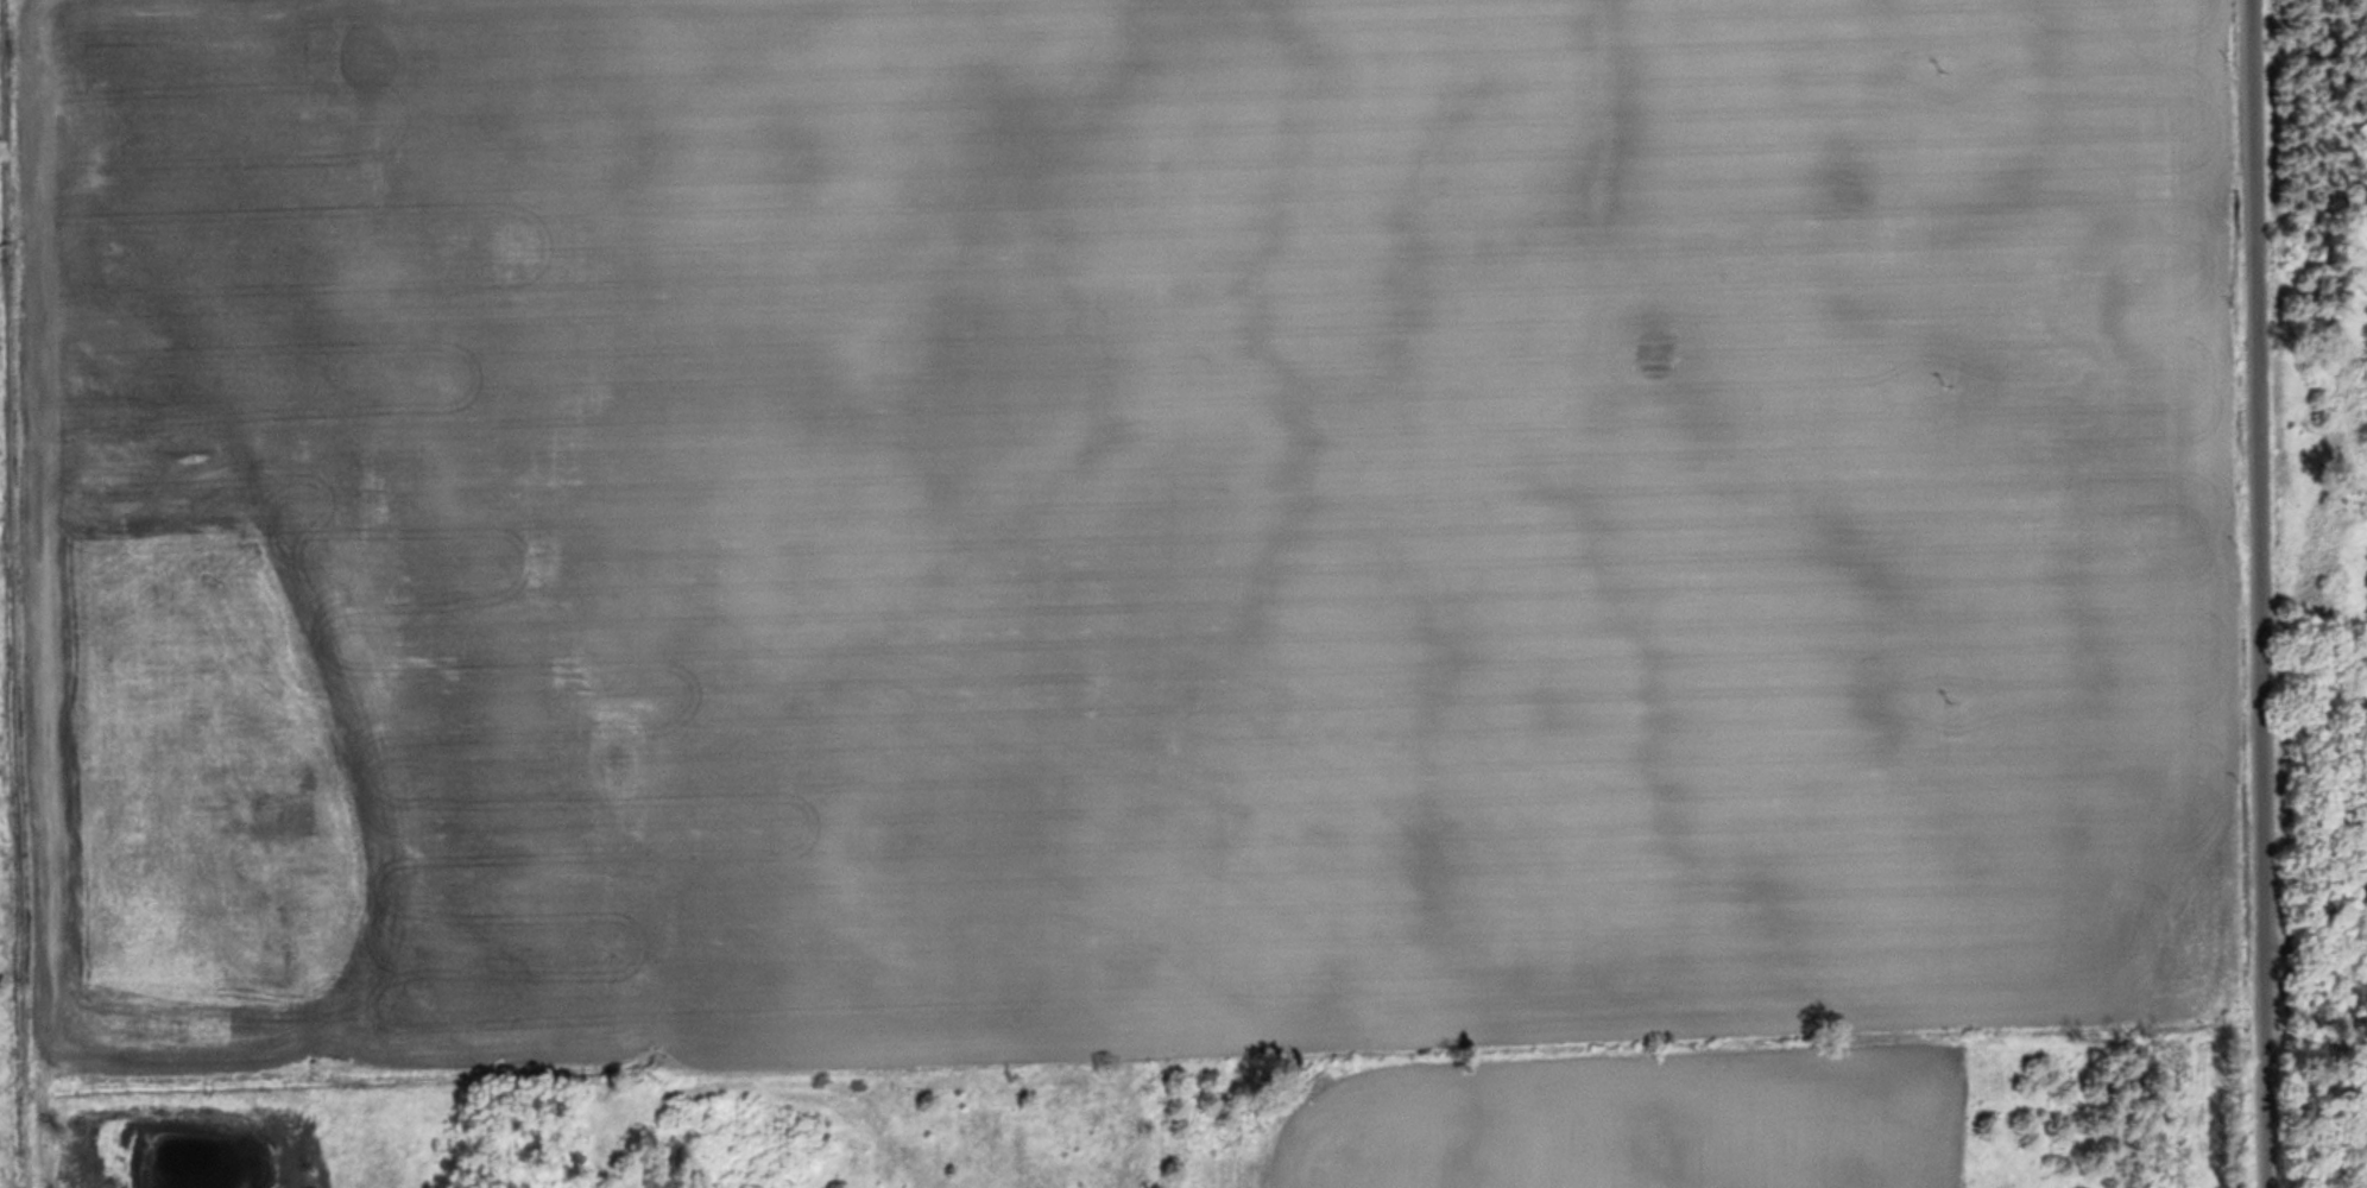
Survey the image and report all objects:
road: (2252, 594)

